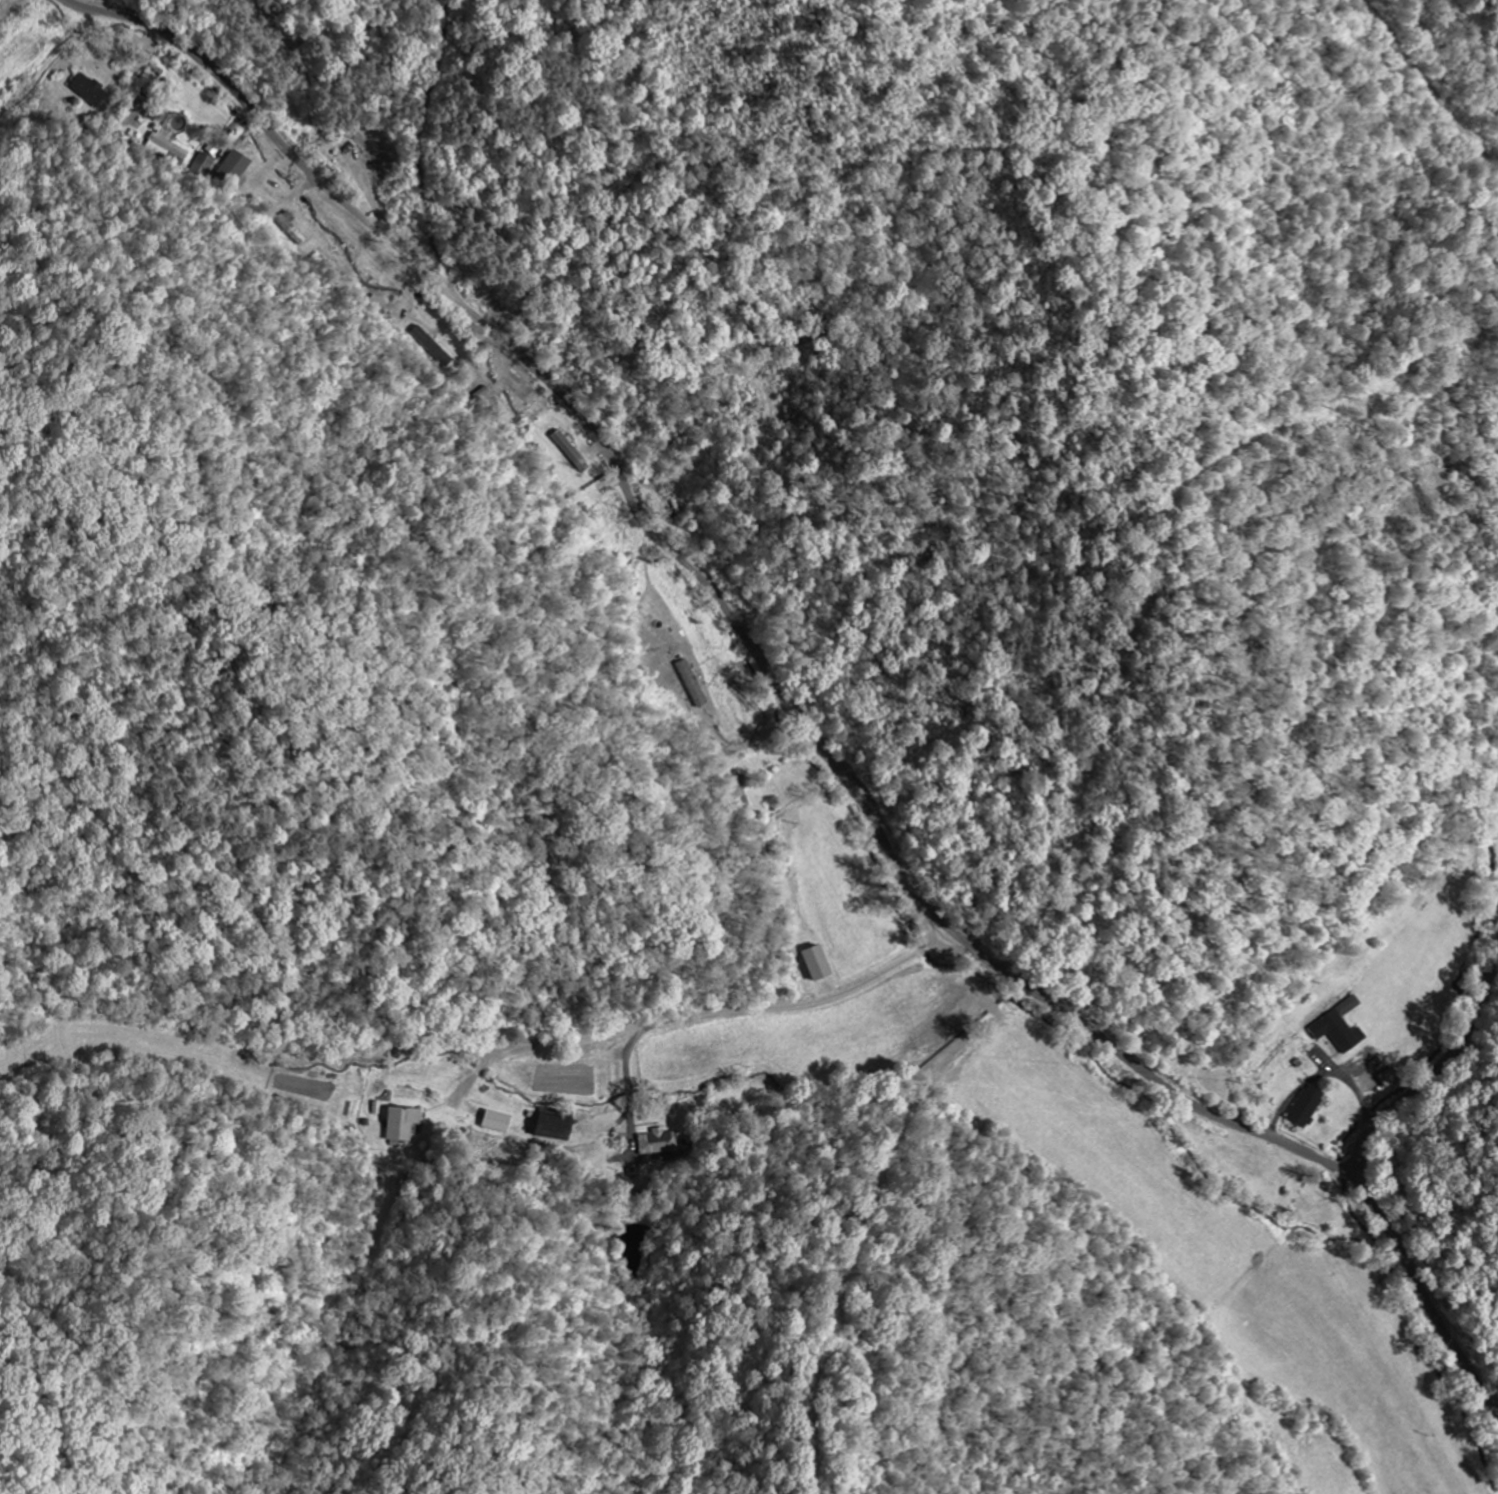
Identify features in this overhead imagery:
building: (90, 89)
building: (169, 146)
building: (235, 169)
road: (792, 705)
road: (922, 915)
building: (817, 962)
road: (719, 1014)
building: (1340, 1025)
road: (1426, 1065)
building: (1308, 1105)
building: (500, 1120)
building: (403, 1121)
building: (556, 1126)
building: (661, 1141)

